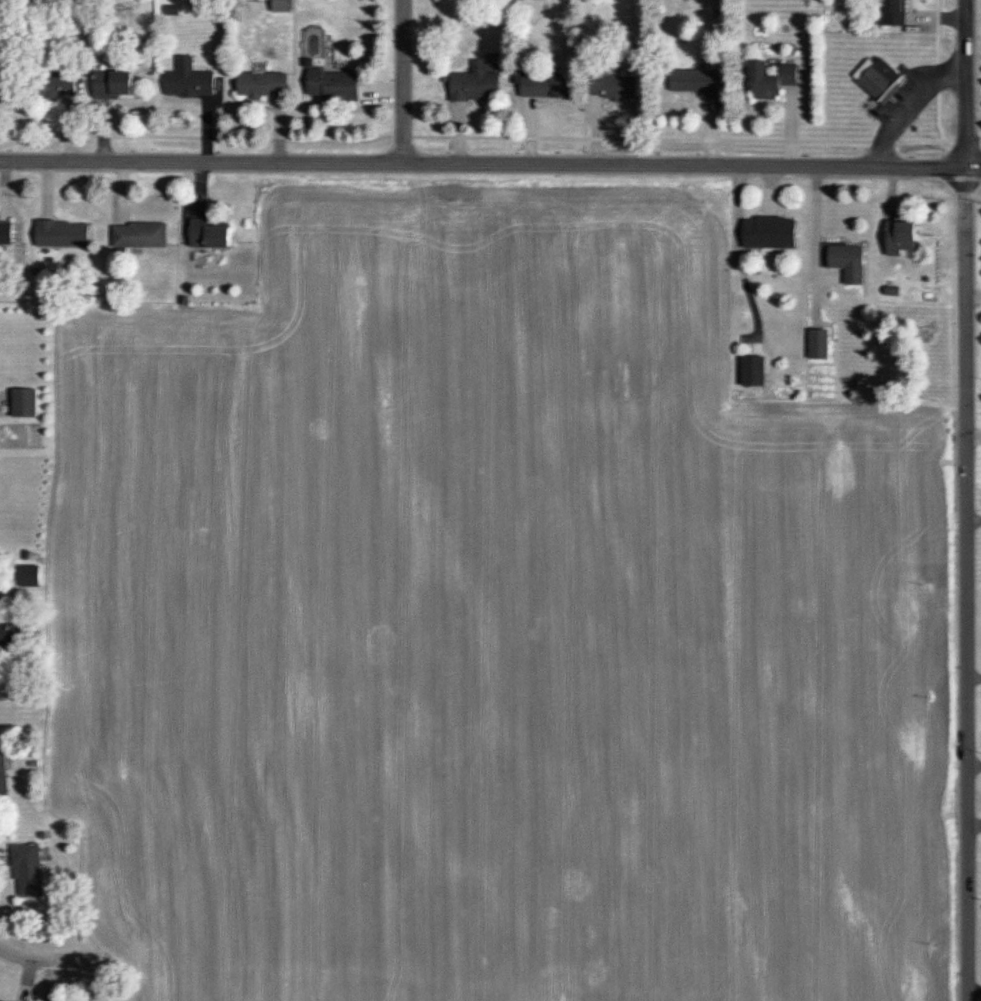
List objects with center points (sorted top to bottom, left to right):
building: (279, 6)
building: (889, 12)
building: (877, 78)
building: (767, 79)
building: (186, 80)
building: (691, 81)
road: (403, 82)
building: (473, 83)
building: (48, 84)
building: (109, 84)
building: (260, 84)
building: (330, 85)
building: (608, 86)
building: (542, 87)
road: (490, 165)
building: (766, 232)
building: (5, 233)
building: (59, 234)
building: (205, 234)
building: (137, 236)
building: (898, 237)
building: (845, 262)
building: (816, 350)
building: (750, 371)
building: (23, 403)
road: (949, 500)
road: (965, 512)
building: (29, 576)
building: (10, 634)
road: (966, 670)
road: (21, 695)
building: (2, 780)
road: (966, 817)
building: (26, 870)
road: (50, 959)

